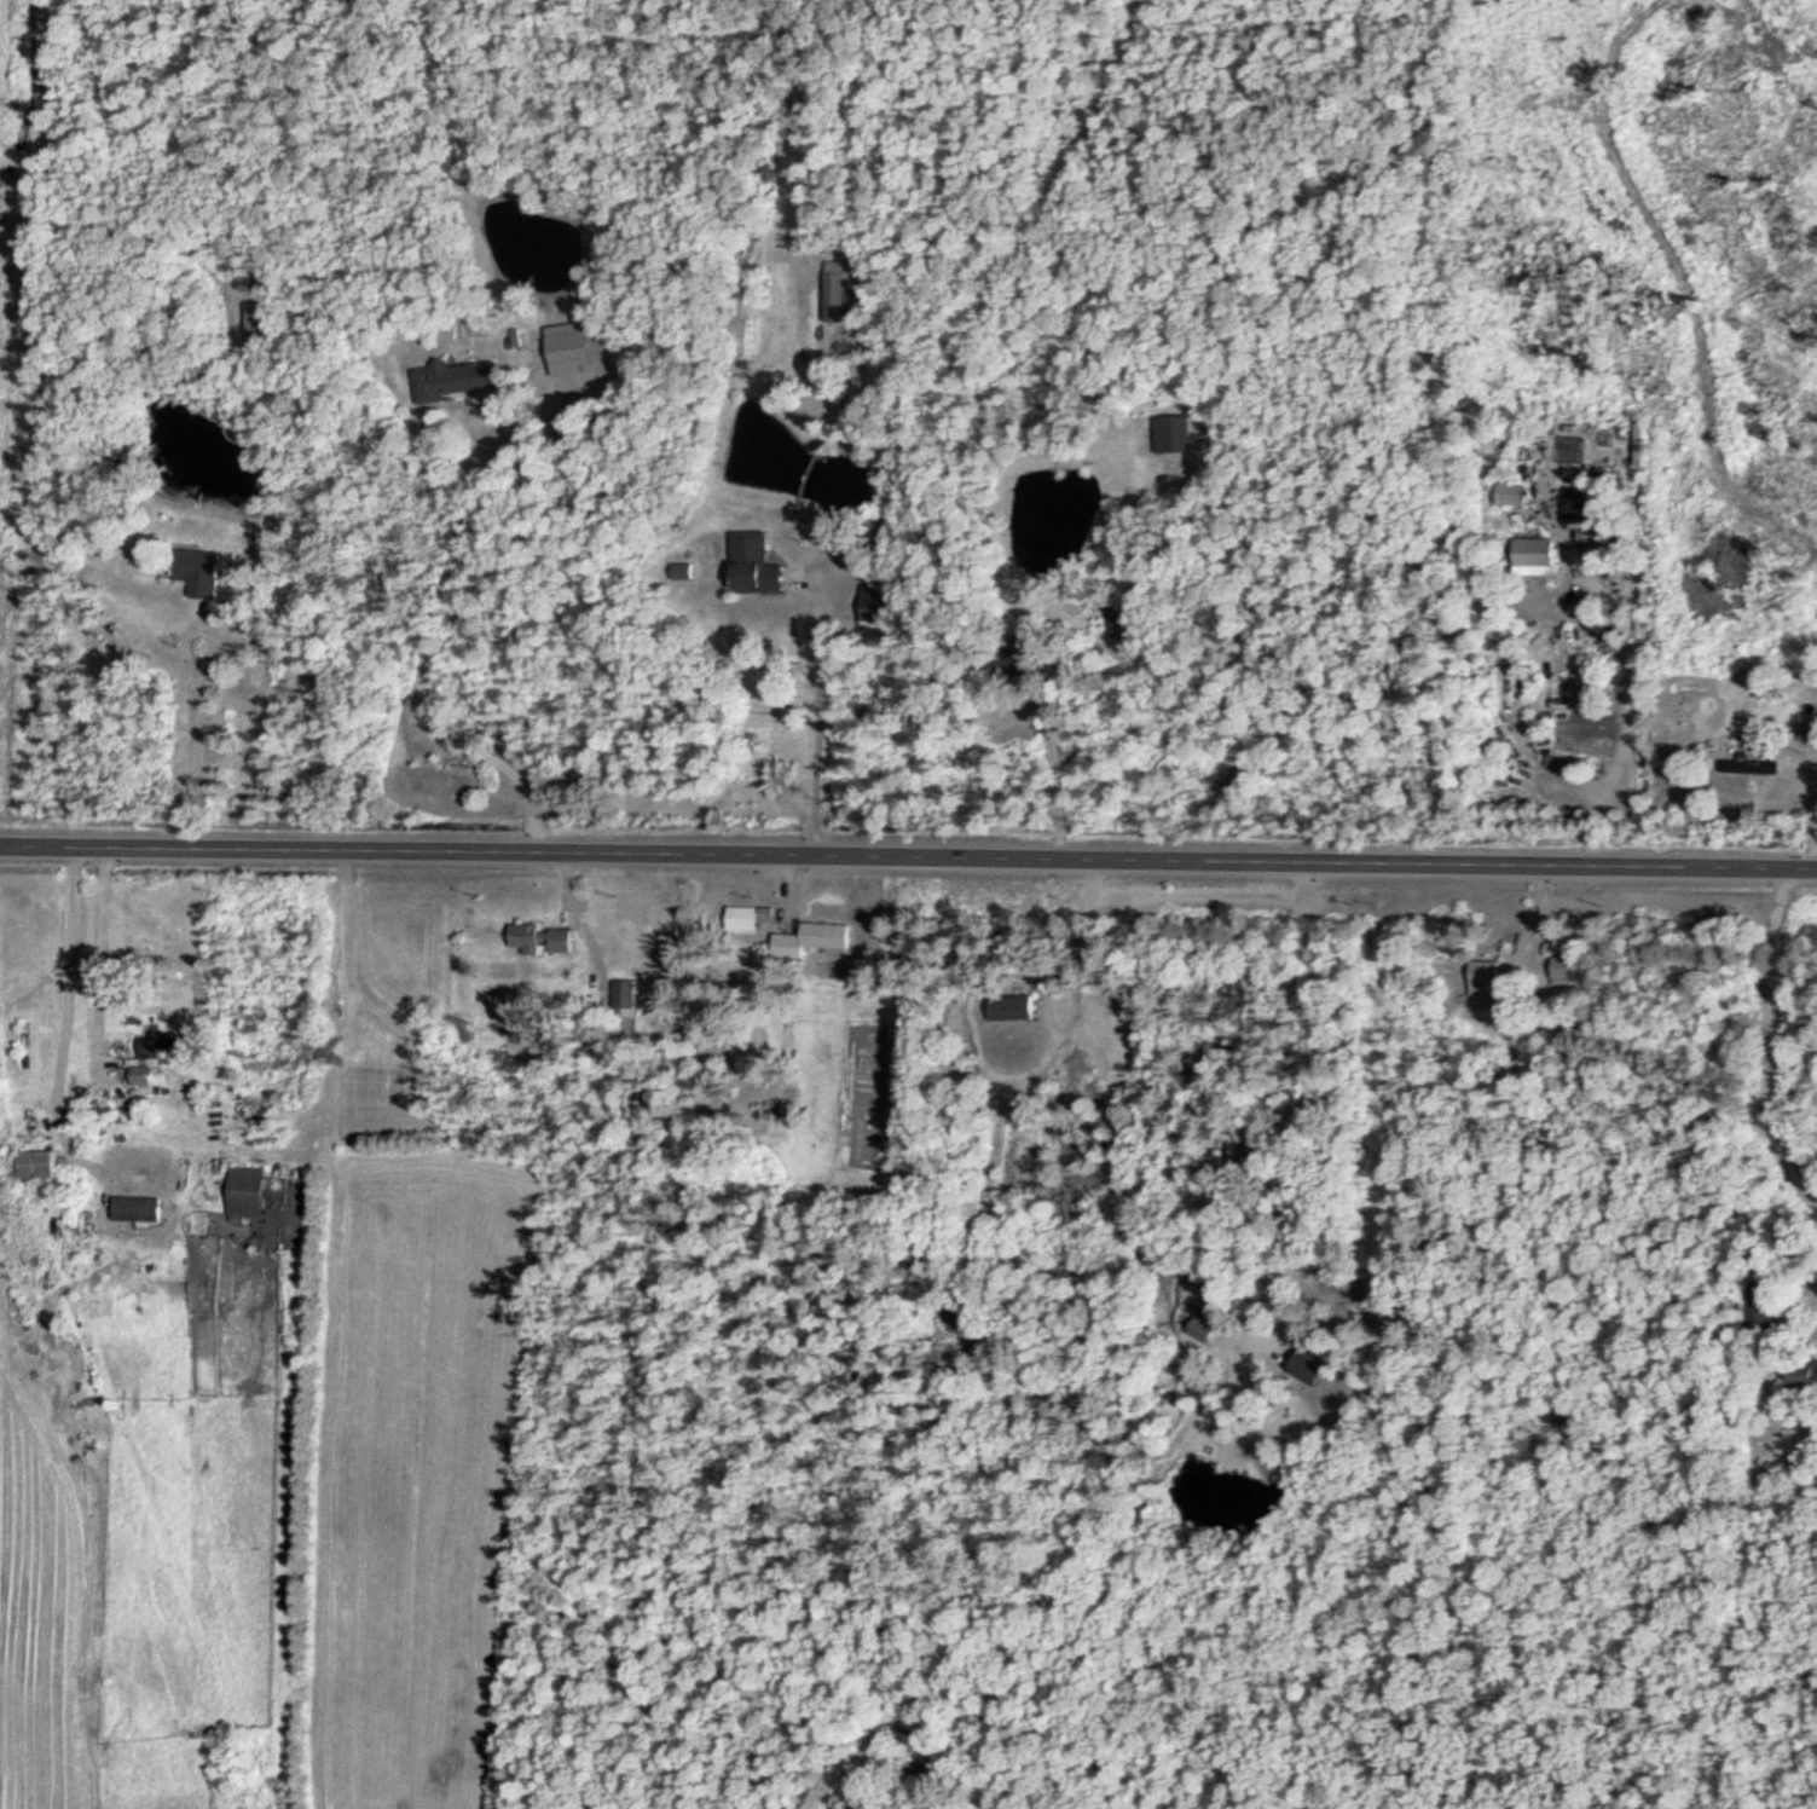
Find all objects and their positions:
building: (846, 291)
building: (264, 318)
building: (575, 346)
building: (464, 377)
building: (1177, 434)
building: (1516, 491)
building: (1586, 507)
building: (762, 567)
building: (207, 573)
building: (880, 605)
building: (1123, 619)
road: (811, 710)
building: (1569, 763)
building: (1755, 767)
road: (1046, 768)
road: (908, 856)
building: (743, 918)
building: (815, 938)
building: (545, 940)
building: (1570, 969)
building: (1491, 972)
building: (626, 994)
building: (1013, 1007)
building: (168, 1046)
road: (1751, 1056)
building: (141, 1076)
building: (41, 1166)
building: (249, 1192)
building: (141, 1210)
building: (1209, 1330)
building: (1314, 1364)
building: (1810, 1365)

